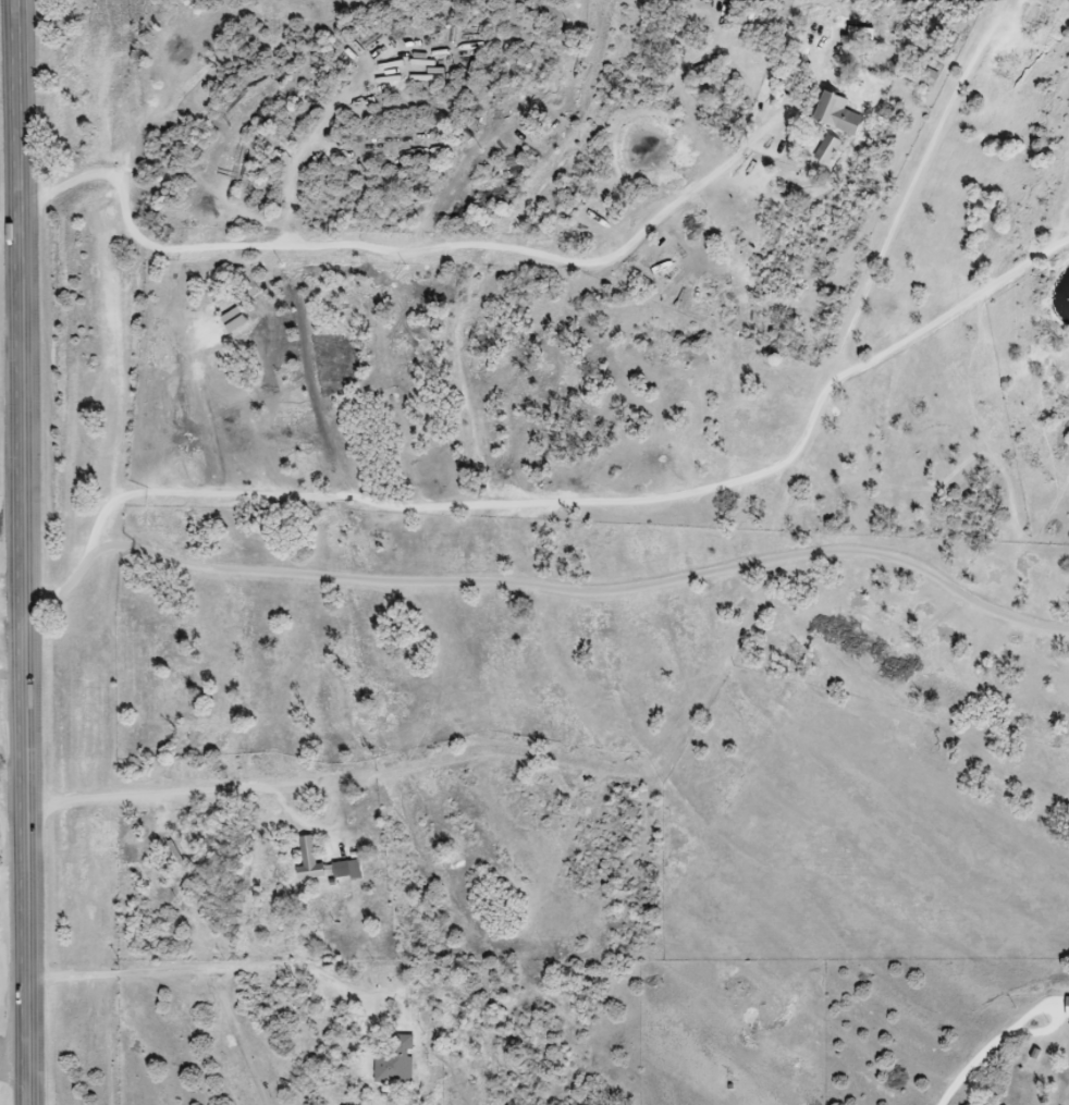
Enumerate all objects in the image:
building: (831, 113)
building: (824, 149)
road: (607, 502)
road: (25, 552)
road: (61, 584)
road: (591, 588)
road: (239, 786)
building: (314, 860)
building: (351, 870)
road: (186, 968)
road: (988, 1045)
building: (396, 1068)

